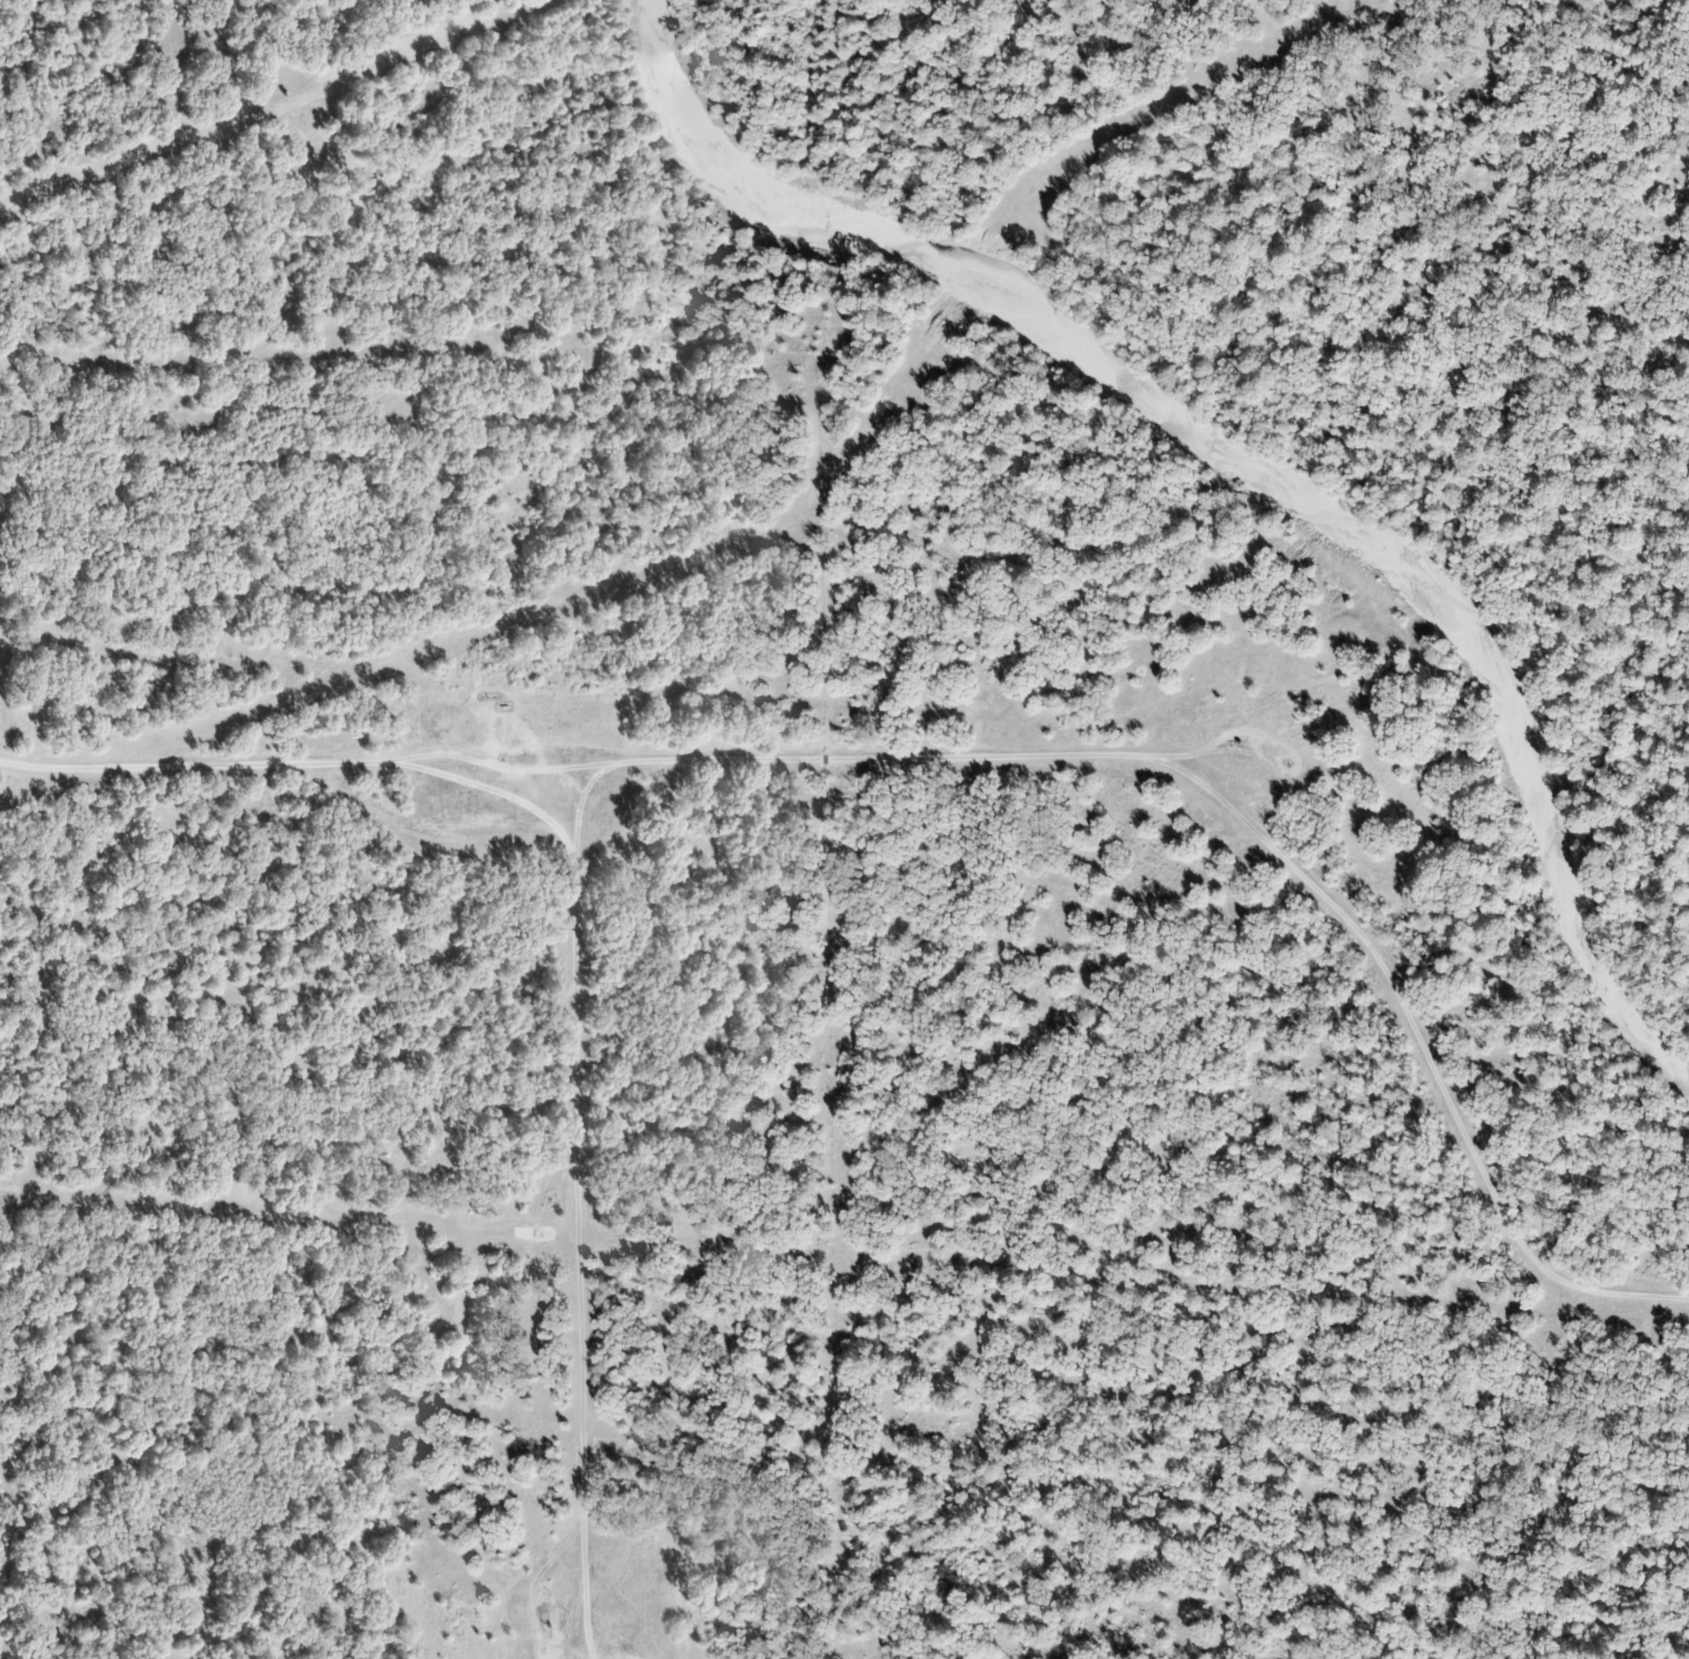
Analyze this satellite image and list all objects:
road: (648, 758)
road: (579, 1211)

